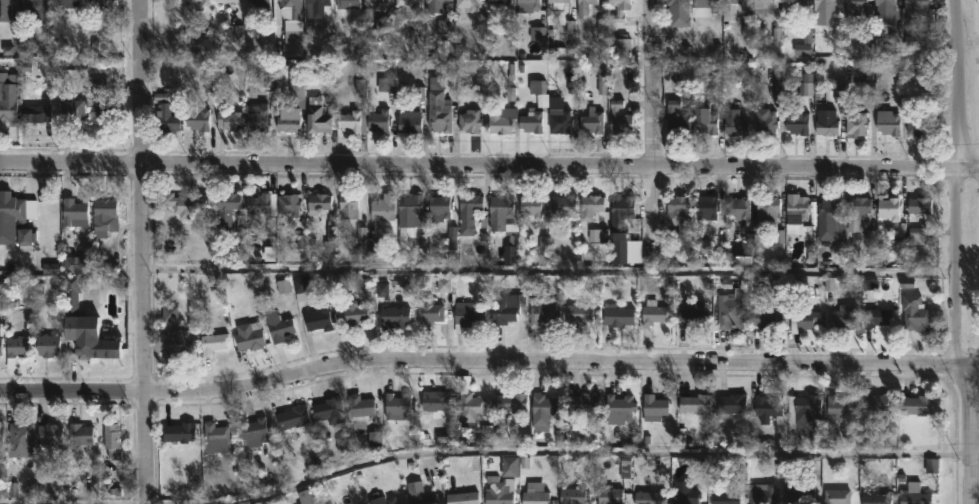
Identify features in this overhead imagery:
building: (225, 0)
building: (376, 0)
building: (436, 1)
building: (497, 1)
building: (97, 2)
building: (198, 2)
building: (261, 2)
building: (2, 3)
building: (67, 3)
building: (409, 3)
building: (556, 3)
building: (765, 3)
building: (347, 4)
building: (468, 4)
building: (795, 4)
building: (857, 4)
building: (38, 5)
building: (528, 5)
building: (736, 6)
building: (317, 7)
building: (582, 7)
building: (704, 7)
building: (619, 9)
building: (885, 10)
building: (909, 10)
building: (678, 12)
building: (830, 13)
building: (291, 27)
road: (958, 80)
building: (538, 91)
building: (438, 106)
building: (7, 110)
building: (101, 110)
building: (37, 111)
building: (69, 113)
building: (733, 113)
building: (317, 116)
building: (676, 116)
building: (619, 117)
building: (166, 118)
building: (197, 119)
building: (229, 119)
building: (257, 119)
building: (287, 119)
building: (501, 119)
building: (559, 119)
building: (352, 120)
building: (378, 120)
building: (531, 120)
building: (705, 120)
building: (470, 121)
building: (766, 121)
building: (888, 121)
building: (592, 122)
building: (797, 122)
building: (917, 122)
building: (409, 123)
road: (652, 123)
building: (856, 123)
building: (826, 126)
road: (970, 160)
road: (480, 166)
road: (970, 170)
building: (184, 204)
building: (287, 204)
building: (317, 204)
building: (532, 204)
building: (919, 204)
building: (347, 205)
building: (440, 205)
building: (564, 206)
building: (590, 206)
building: (623, 206)
building: (739, 206)
building: (382, 207)
building: (706, 207)
building: (258, 208)
building: (679, 209)
building: (889, 209)
building: (224, 210)
building: (857, 211)
building: (72, 212)
building: (468, 212)
building: (768, 212)
building: (502, 213)
building: (796, 213)
building: (102, 214)
building: (409, 214)
building: (16, 219)
building: (831, 219)
road: (147, 251)
road: (956, 261)
road: (478, 272)
building: (301, 286)
building: (506, 307)
building: (731, 310)
building: (428, 311)
building: (542, 311)
building: (764, 311)
building: (652, 312)
building: (914, 313)
building: (618, 314)
building: (467, 315)
building: (692, 315)
building: (845, 315)
building: (394, 316)
building: (576, 316)
building: (352, 317)
building: (876, 317)
building: (320, 318)
building: (803, 320)
building: (277, 326)
building: (249, 335)
building: (174, 342)
building: (212, 342)
building: (47, 345)
building: (2, 346)
building: (17, 346)
building: (98, 347)
road: (973, 356)
road: (482, 360)
road: (973, 360)
building: (436, 402)
building: (510, 402)
building: (583, 402)
building: (881, 402)
building: (695, 403)
building: (730, 404)
building: (915, 404)
building: (360, 405)
building: (838, 405)
building: (397, 406)
building: (471, 406)
building: (653, 407)
building: (619, 409)
building: (328, 410)
building: (543, 410)
building: (768, 410)
building: (801, 412)
building: (291, 417)
building: (254, 431)
building: (179, 432)
road: (967, 432)
building: (48, 433)
building: (80, 433)
building: (0, 437)
building: (215, 437)
building: (19, 439)
building: (111, 440)
road: (588, 457)
building: (459, 492)
building: (499, 492)
building: (801, 492)
building: (535, 493)
building: (684, 493)
building: (762, 493)
building: (420, 494)
building: (609, 494)
building: (914, 494)
building: (574, 495)
building: (723, 495)
building: (649, 497)
building: (837, 497)
building: (875, 498)
building: (383, 500)

